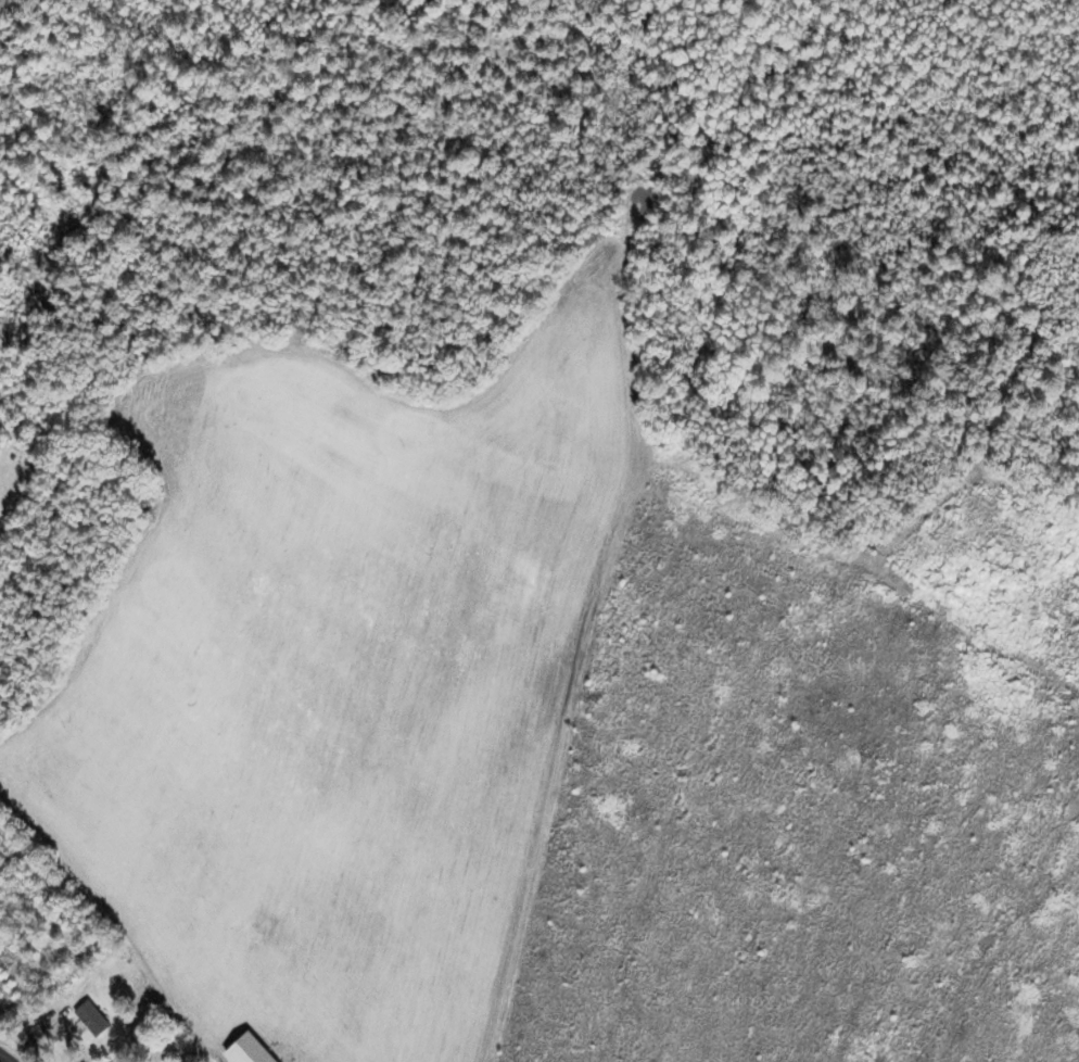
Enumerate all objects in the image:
road: (7, 1057)

